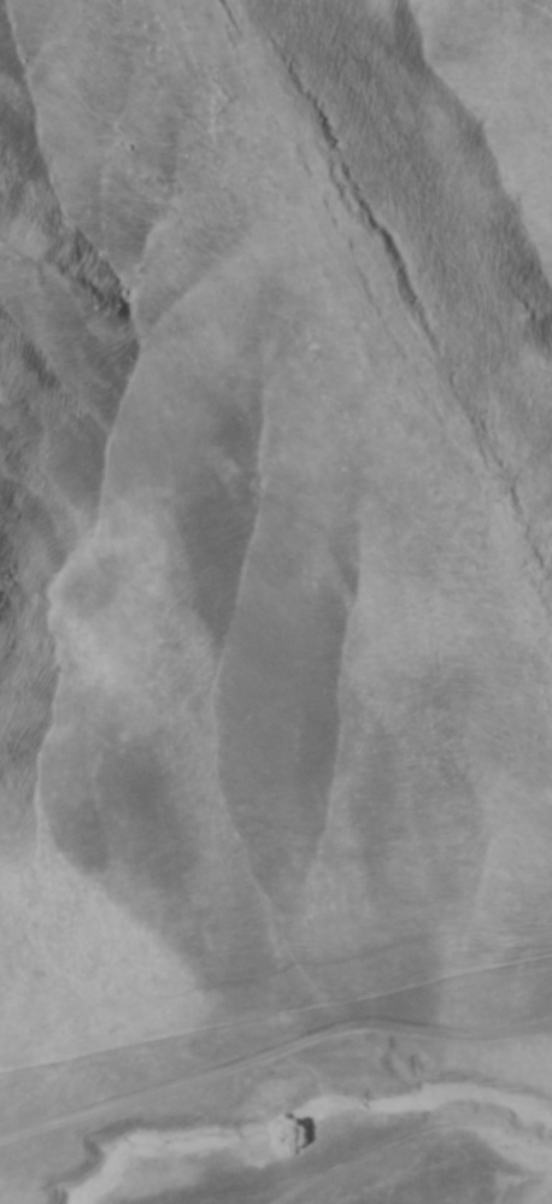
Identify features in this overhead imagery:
road: (276, 828)

